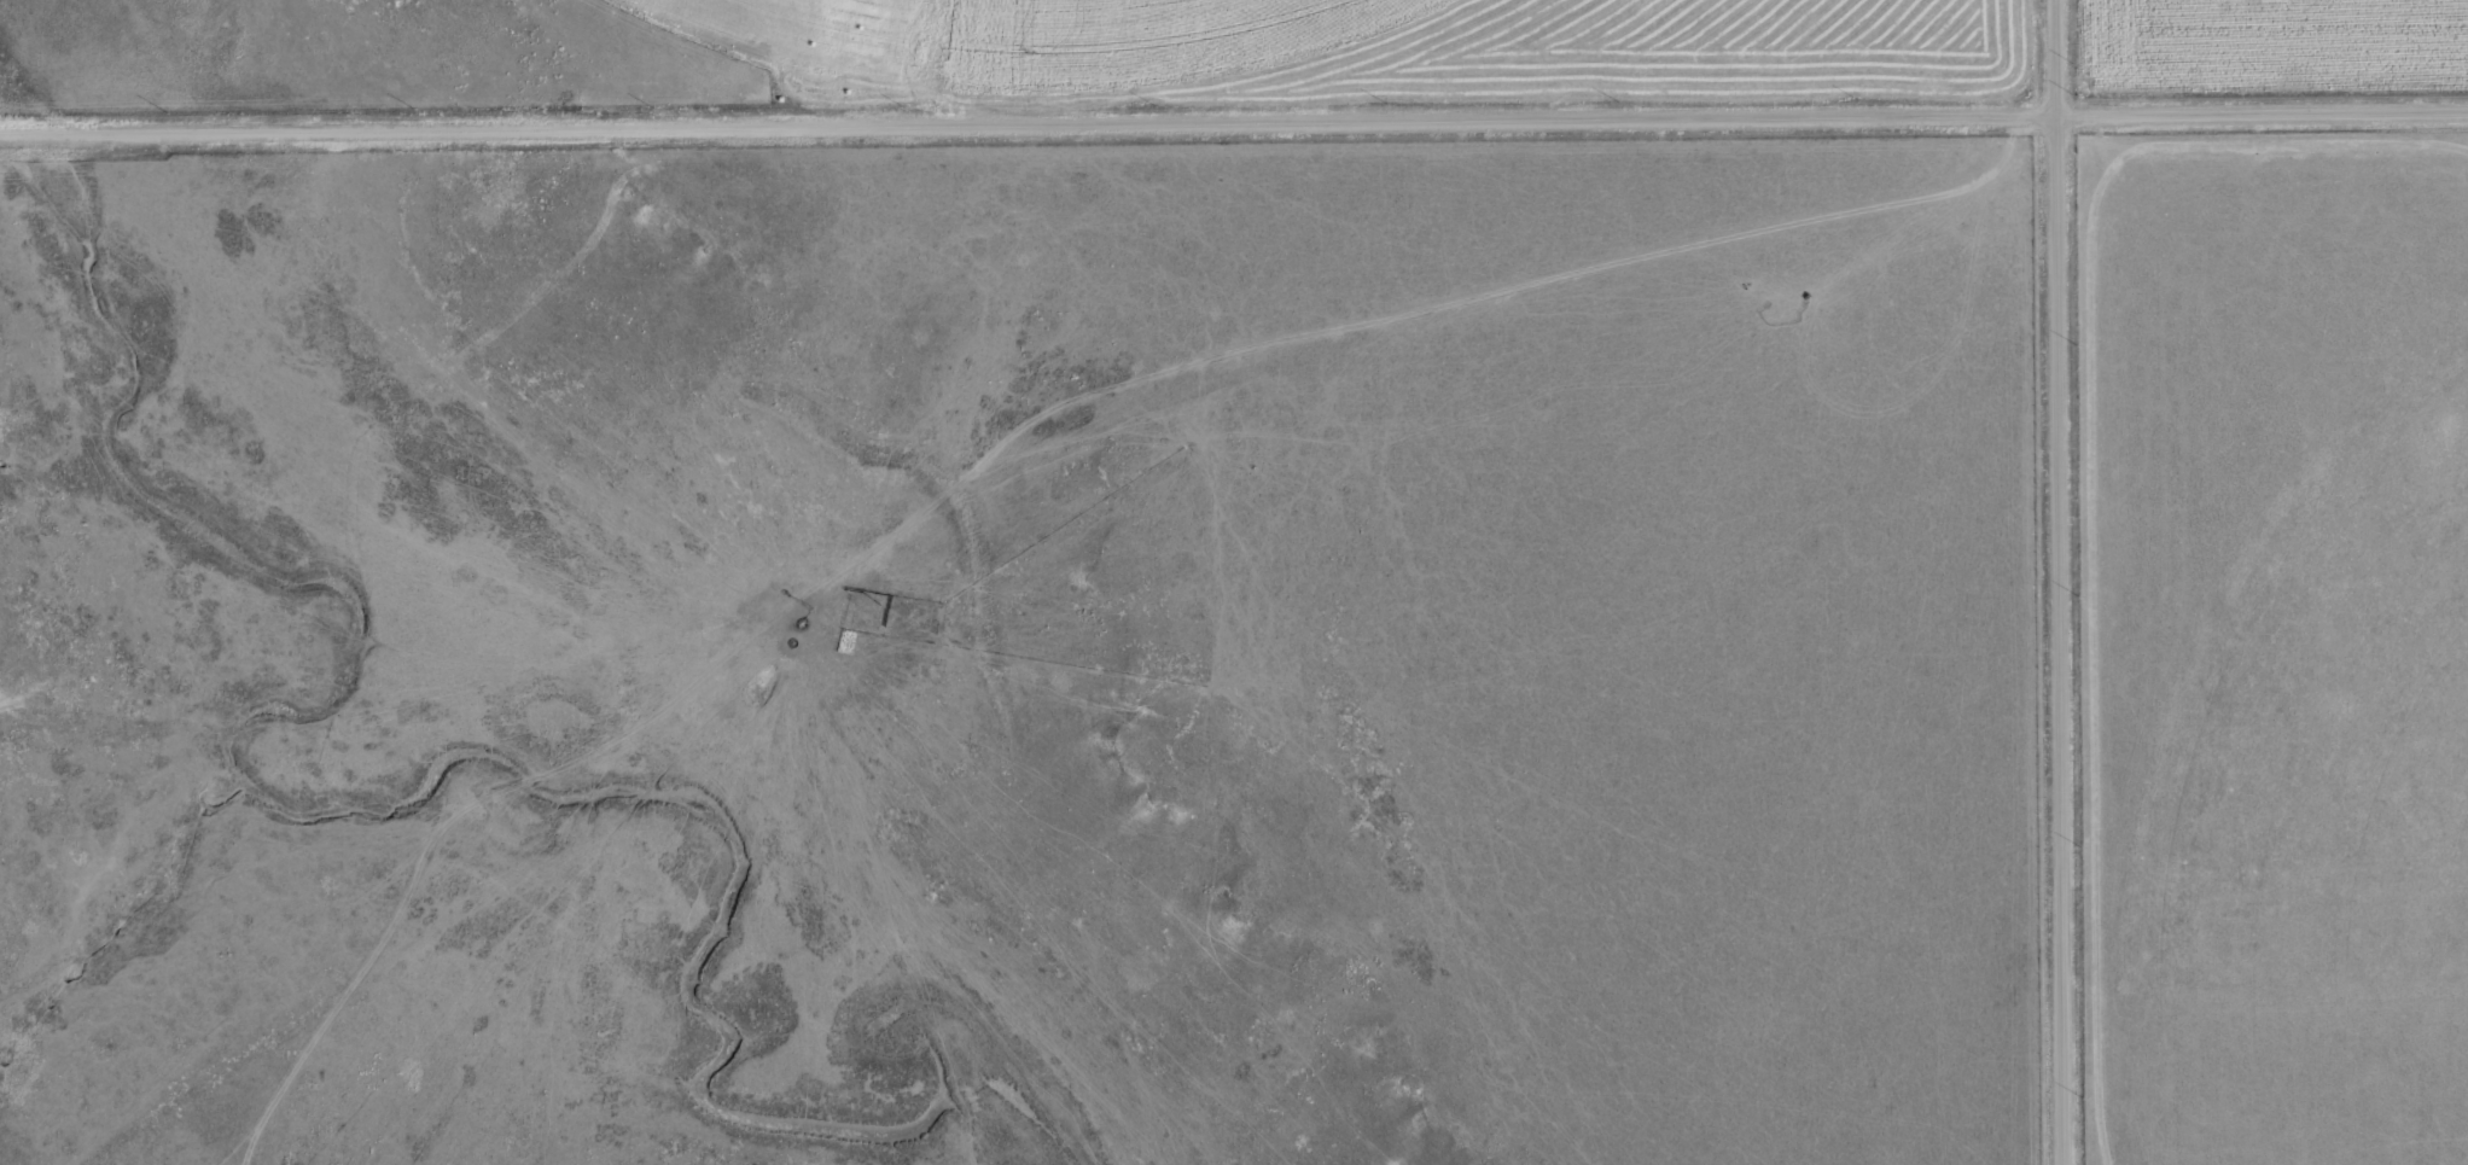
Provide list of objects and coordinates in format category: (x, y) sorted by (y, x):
road: (1234, 122)
road: (2060, 582)

